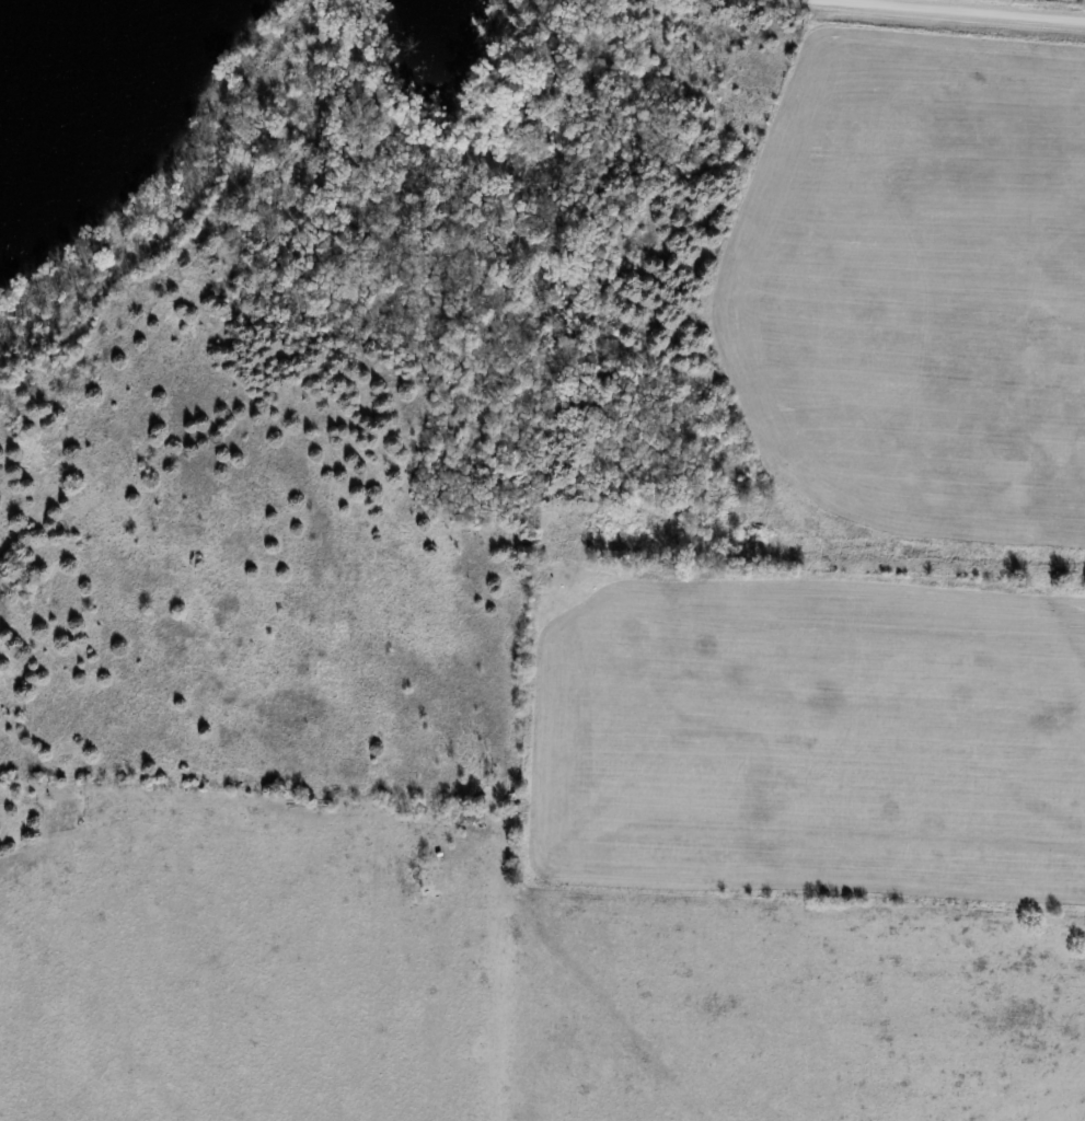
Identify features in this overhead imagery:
road: (954, 10)

